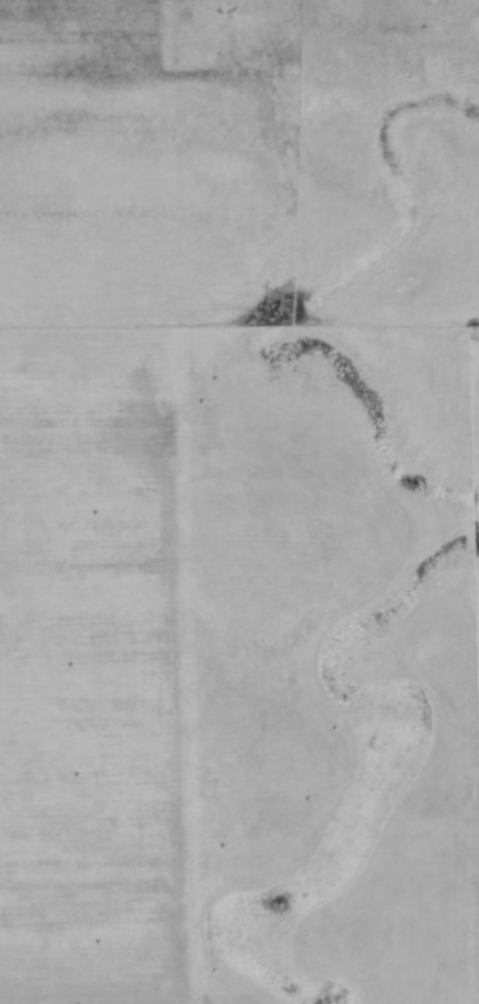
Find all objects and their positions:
power tower: (291, 305)

